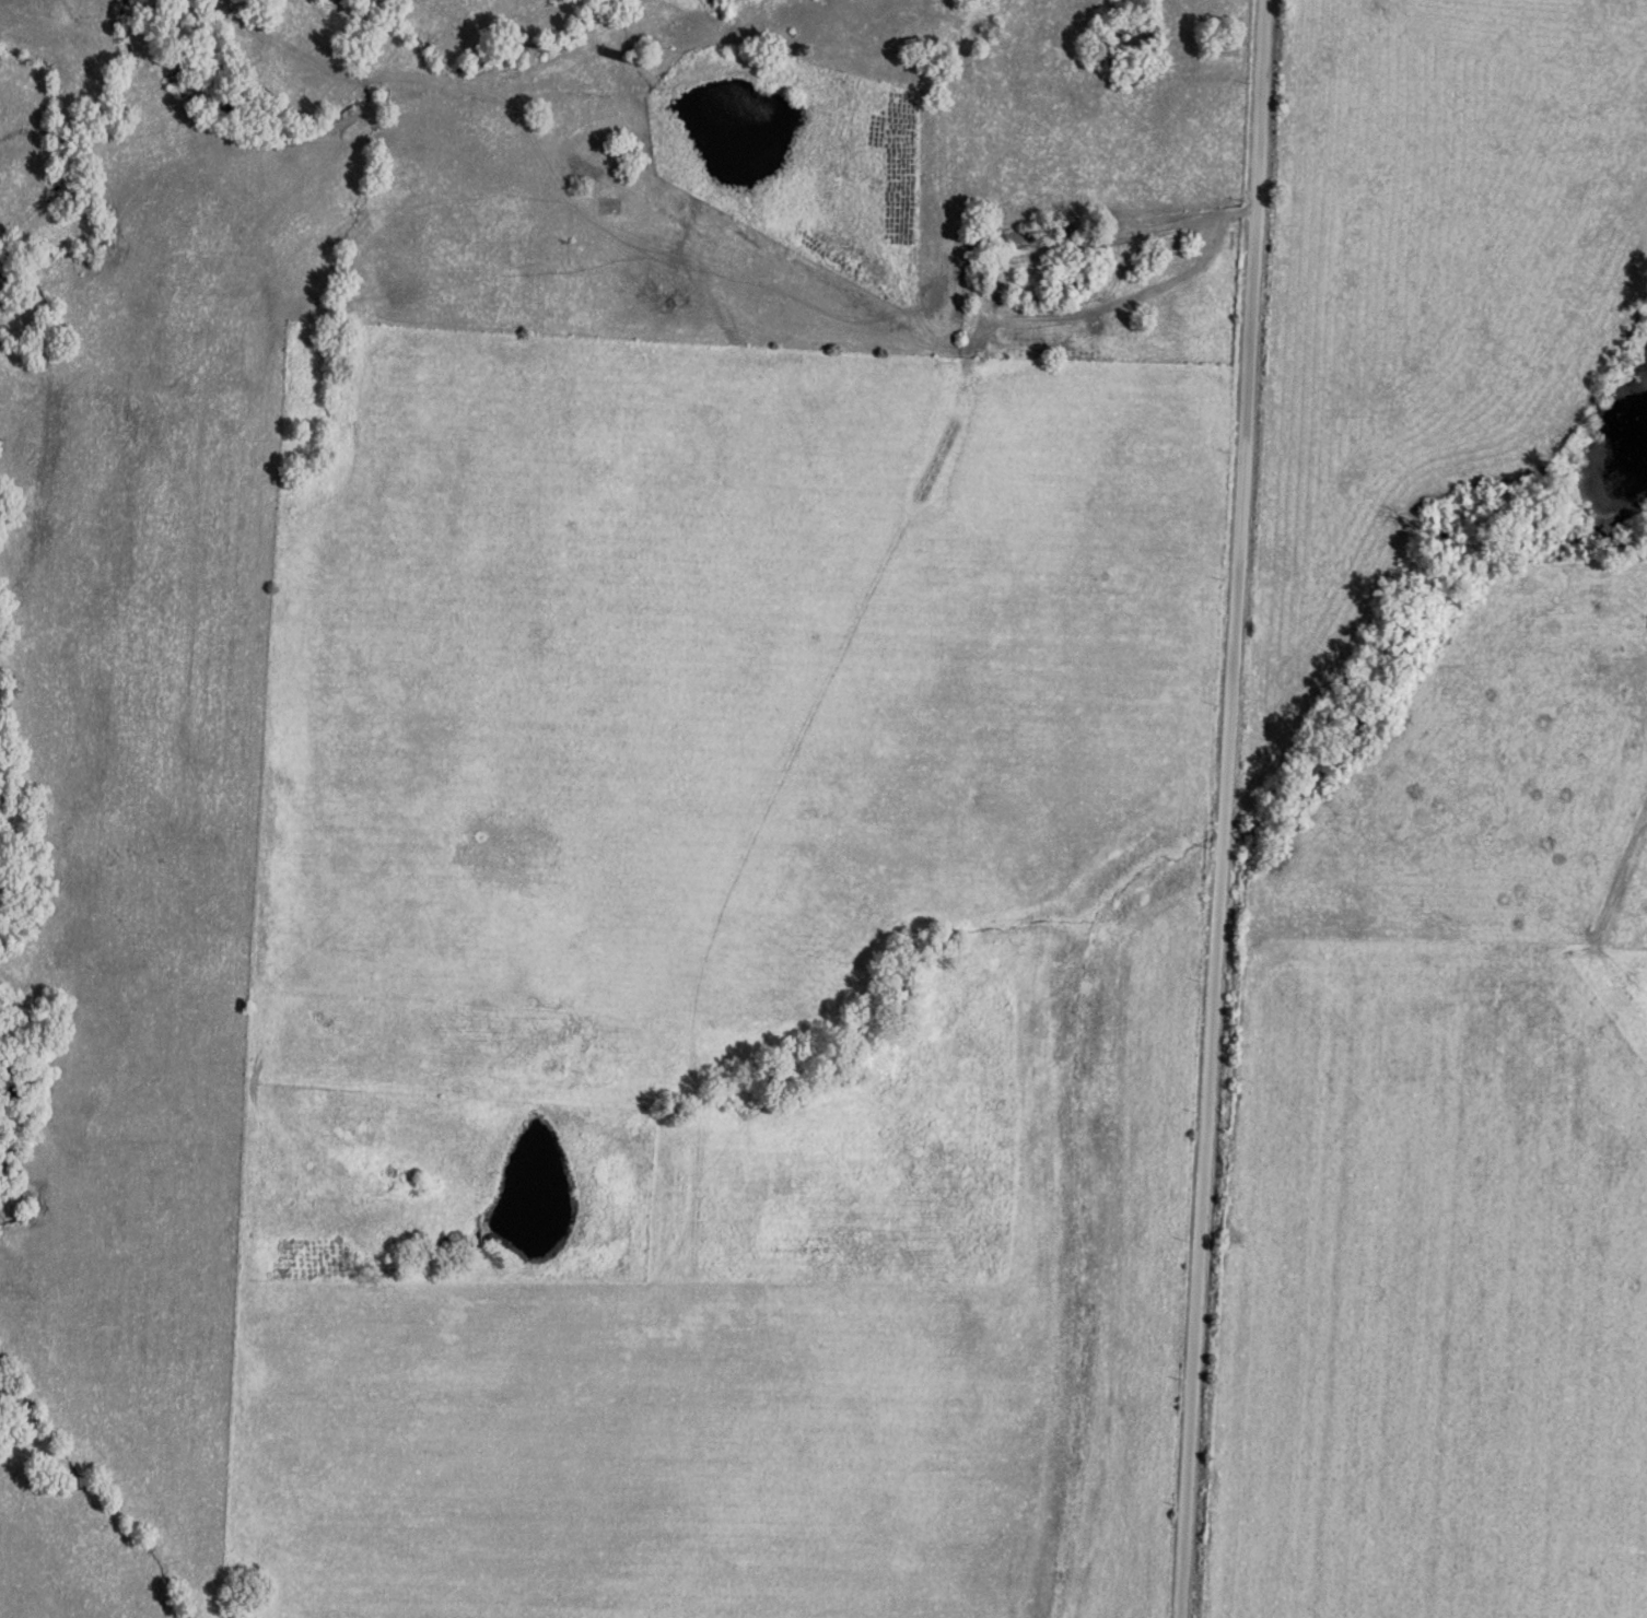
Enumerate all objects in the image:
road: (1242, 216)
road: (1129, 268)
road: (1223, 809)

